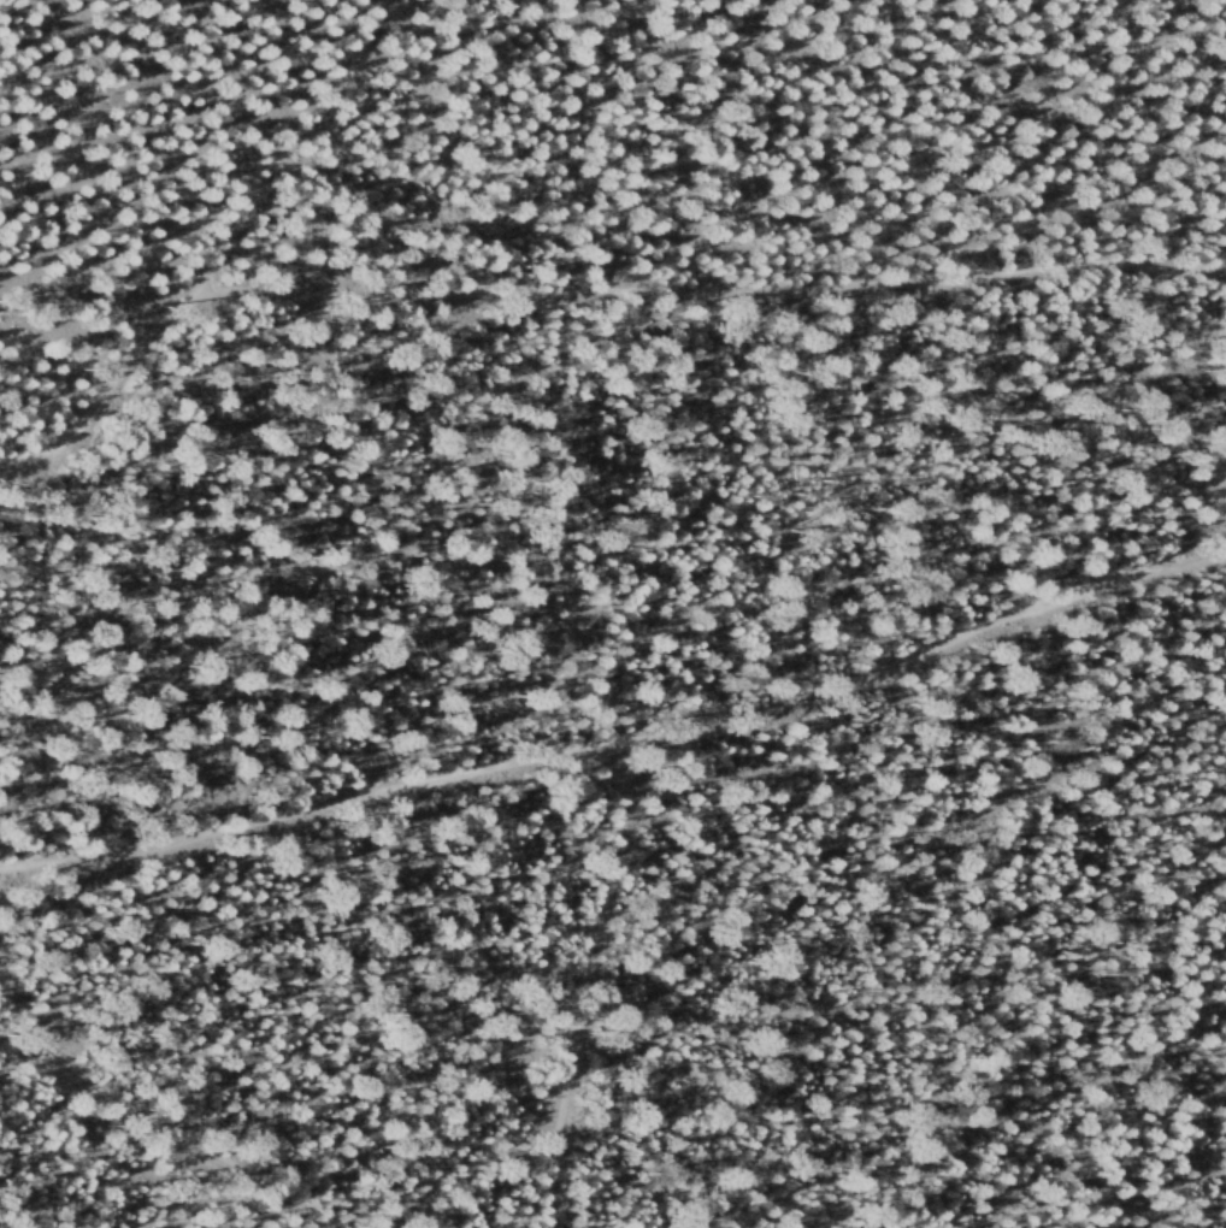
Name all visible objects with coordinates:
road: (289, 146)
road: (902, 152)
road: (935, 235)
road: (579, 295)
road: (1191, 525)
road: (705, 731)
road: (337, 801)
road: (160, 1133)

